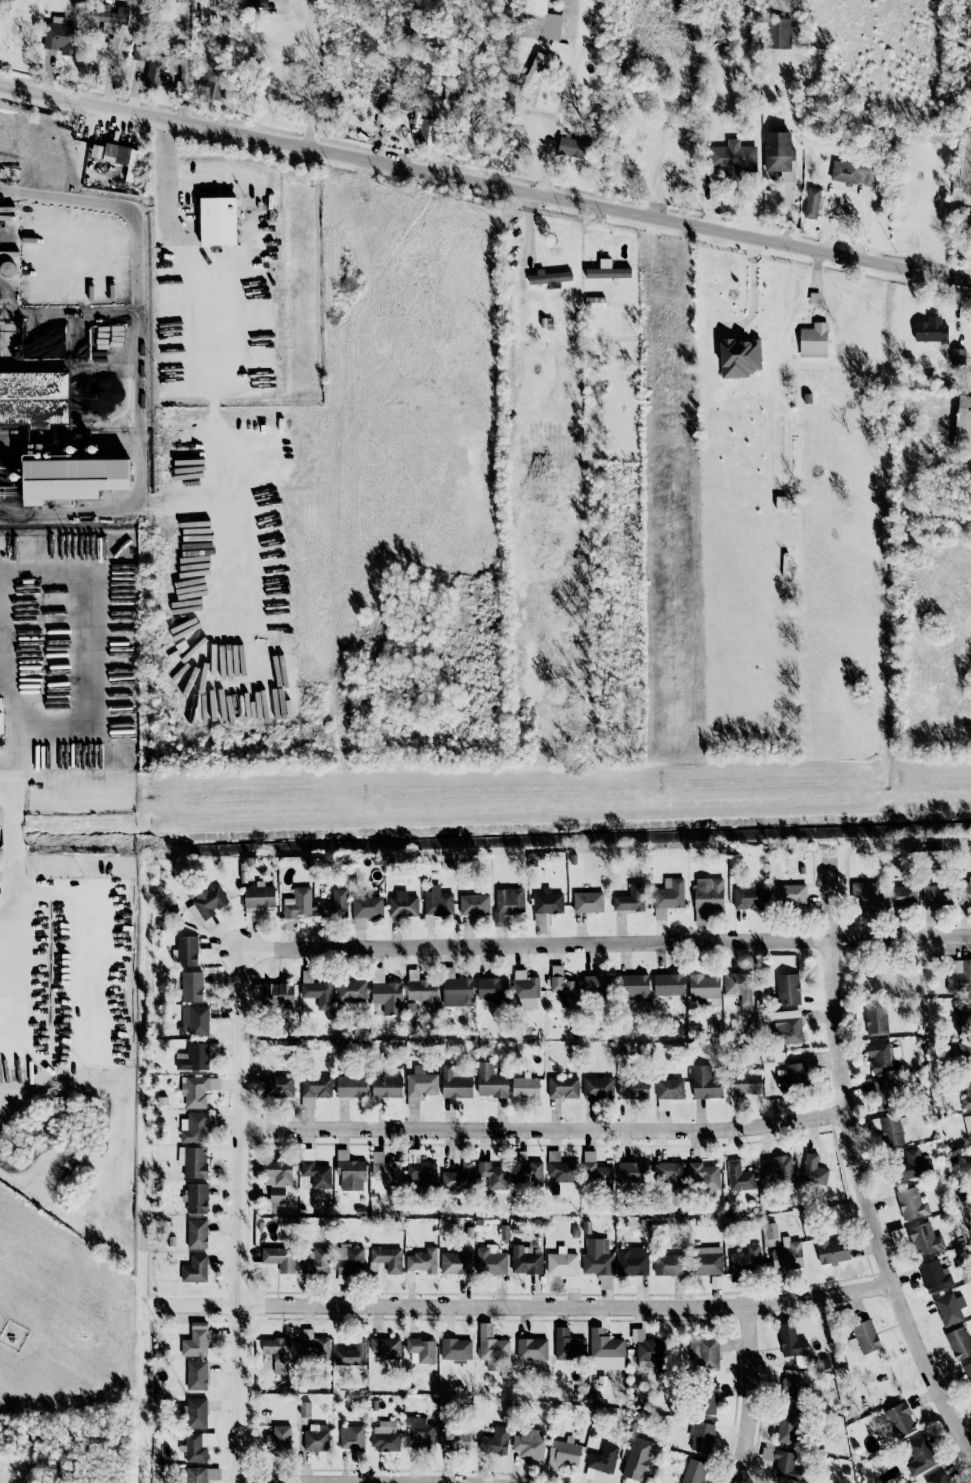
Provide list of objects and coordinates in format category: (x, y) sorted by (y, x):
building: (254, 4)
building: (113, 20)
building: (537, 21)
building: (779, 33)
building: (60, 36)
road: (122, 53)
road: (109, 59)
building: (150, 65)
road: (310, 67)
building: (183, 74)
building: (531, 74)
road: (135, 88)
building: (210, 89)
building: (453, 89)
road: (564, 98)
building: (383, 108)
building: (428, 129)
building: (573, 147)
building: (779, 154)
building: (120, 158)
building: (732, 159)
building: (962, 169)
building: (851, 173)
road: (214, 180)
road: (485, 184)
road: (849, 193)
building: (812, 203)
building: (967, 220)
building: (218, 221)
road: (528, 241)
building: (607, 271)
road: (137, 272)
building: (549, 278)
road: (752, 295)
building: (594, 302)
building: (931, 330)
road: (727, 331)
road: (9, 339)
building: (740, 356)
building: (958, 356)
road: (35, 367)
building: (34, 397)
road: (213, 407)
building: (962, 424)
building: (73, 478)
road: (137, 478)
road: (89, 670)
building: (2, 723)
road: (6, 770)
road: (12, 779)
road: (12, 840)
street lamp: (83, 876)
street lamp: (38, 878)
building: (964, 892)
building: (708, 894)
building: (789, 895)
building: (866, 895)
building: (936, 895)
building: (259, 896)
building: (901, 896)
building: (668, 897)
building: (748, 898)
building: (630, 899)
building: (437, 900)
building: (547, 902)
building: (587, 902)
building: (206, 903)
building: (298, 903)
building: (507, 903)
building: (402, 904)
building: (333, 905)
building: (474, 905)
building: (367, 907)
building: (875, 912)
road: (606, 942)
building: (185, 951)
road: (15, 955)
building: (695, 968)
road: (96, 969)
road: (7, 973)
building: (958, 976)
building: (598, 984)
building: (668, 984)
building: (191, 986)
building: (634, 986)
building: (703, 986)
building: (736, 986)
building: (564, 987)
building: (525, 989)
building: (787, 989)
building: (422, 990)
building: (493, 990)
building: (316, 991)
building: (351, 991)
building: (459, 991)
building: (386, 993)
building: (279, 997)
building: (963, 1019)
building: (195, 1020)
building: (873, 1021)
building: (784, 1026)
building: (962, 1054)
building: (882, 1056)
building: (193, 1057)
street lamp: (85, 1069)
street lamp: (39, 1070)
building: (792, 1077)
building: (491, 1081)
building: (420, 1082)
building: (213, 1083)
building: (705, 1083)
building: (745, 1083)
building: (455, 1084)
building: (277, 1085)
building: (387, 1085)
building: (351, 1086)
building: (525, 1087)
building: (563, 1088)
building: (598, 1088)
building: (633, 1088)
building: (314, 1090)
building: (194, 1091)
building: (668, 1092)
building: (884, 1094)
building: (967, 1094)
building: (970, 1116)
building: (194, 1127)
building: (886, 1129)
road: (546, 1131)
building: (970, 1155)
road: (855, 1157)
building: (193, 1161)
building: (914, 1164)
building: (560, 1168)
building: (385, 1169)
building: (777, 1169)
building: (420, 1170)
building: (350, 1171)
building: (527, 1171)
building: (595, 1171)
building: (277, 1173)
building: (668, 1173)
building: (316, 1174)
building: (632, 1174)
building: (492, 1175)
building: (813, 1175)
building: (703, 1176)
building: (458, 1177)
building: (739, 1177)
building: (277, 1195)
building: (196, 1197)
building: (912, 1203)
road: (247, 1215)
building: (770, 1230)
building: (197, 1234)
building: (898, 1236)
building: (925, 1240)
building: (833, 1251)
building: (596, 1256)
building: (279, 1258)
building: (388, 1259)
building: (490, 1260)
building: (525, 1260)
building: (745, 1260)
building: (422, 1261)
building: (632, 1261)
building: (316, 1262)
building: (456, 1263)
building: (561, 1263)
building: (708, 1263)
building: (668, 1265)
building: (195, 1269)
building: (934, 1276)
building: (949, 1308)
road: (528, 1309)
building: (864, 1337)
building: (195, 1340)
building: (959, 1342)
building: (491, 1344)
building: (724, 1344)
building: (792, 1344)
building: (604, 1345)
building: (568, 1346)
building: (385, 1348)
building: (531, 1348)
building: (315, 1349)
building: (420, 1349)
building: (456, 1349)
building: (649, 1350)
building: (278, 1352)
building: (351, 1353)
building: (708, 1354)
building: (967, 1371)
building: (196, 1374)
road: (757, 1394)
building: (791, 1394)
building: (708, 1399)
building: (305, 1409)
building: (196, 1413)
building: (900, 1420)
building: (787, 1428)
building: (421, 1430)
building: (385, 1436)
building: (700, 1436)
building: (316, 1437)
building: (278, 1438)
building: (352, 1438)
building: (455, 1440)
building: (495, 1441)
building: (197, 1445)
building: (528, 1445)
building: (562, 1455)
building: (919, 1455)
building: (603, 1459)
building: (637, 1459)
building: (783, 1464)
building: (693, 1471)
building: (201, 1474)
road: (372, 1481)

